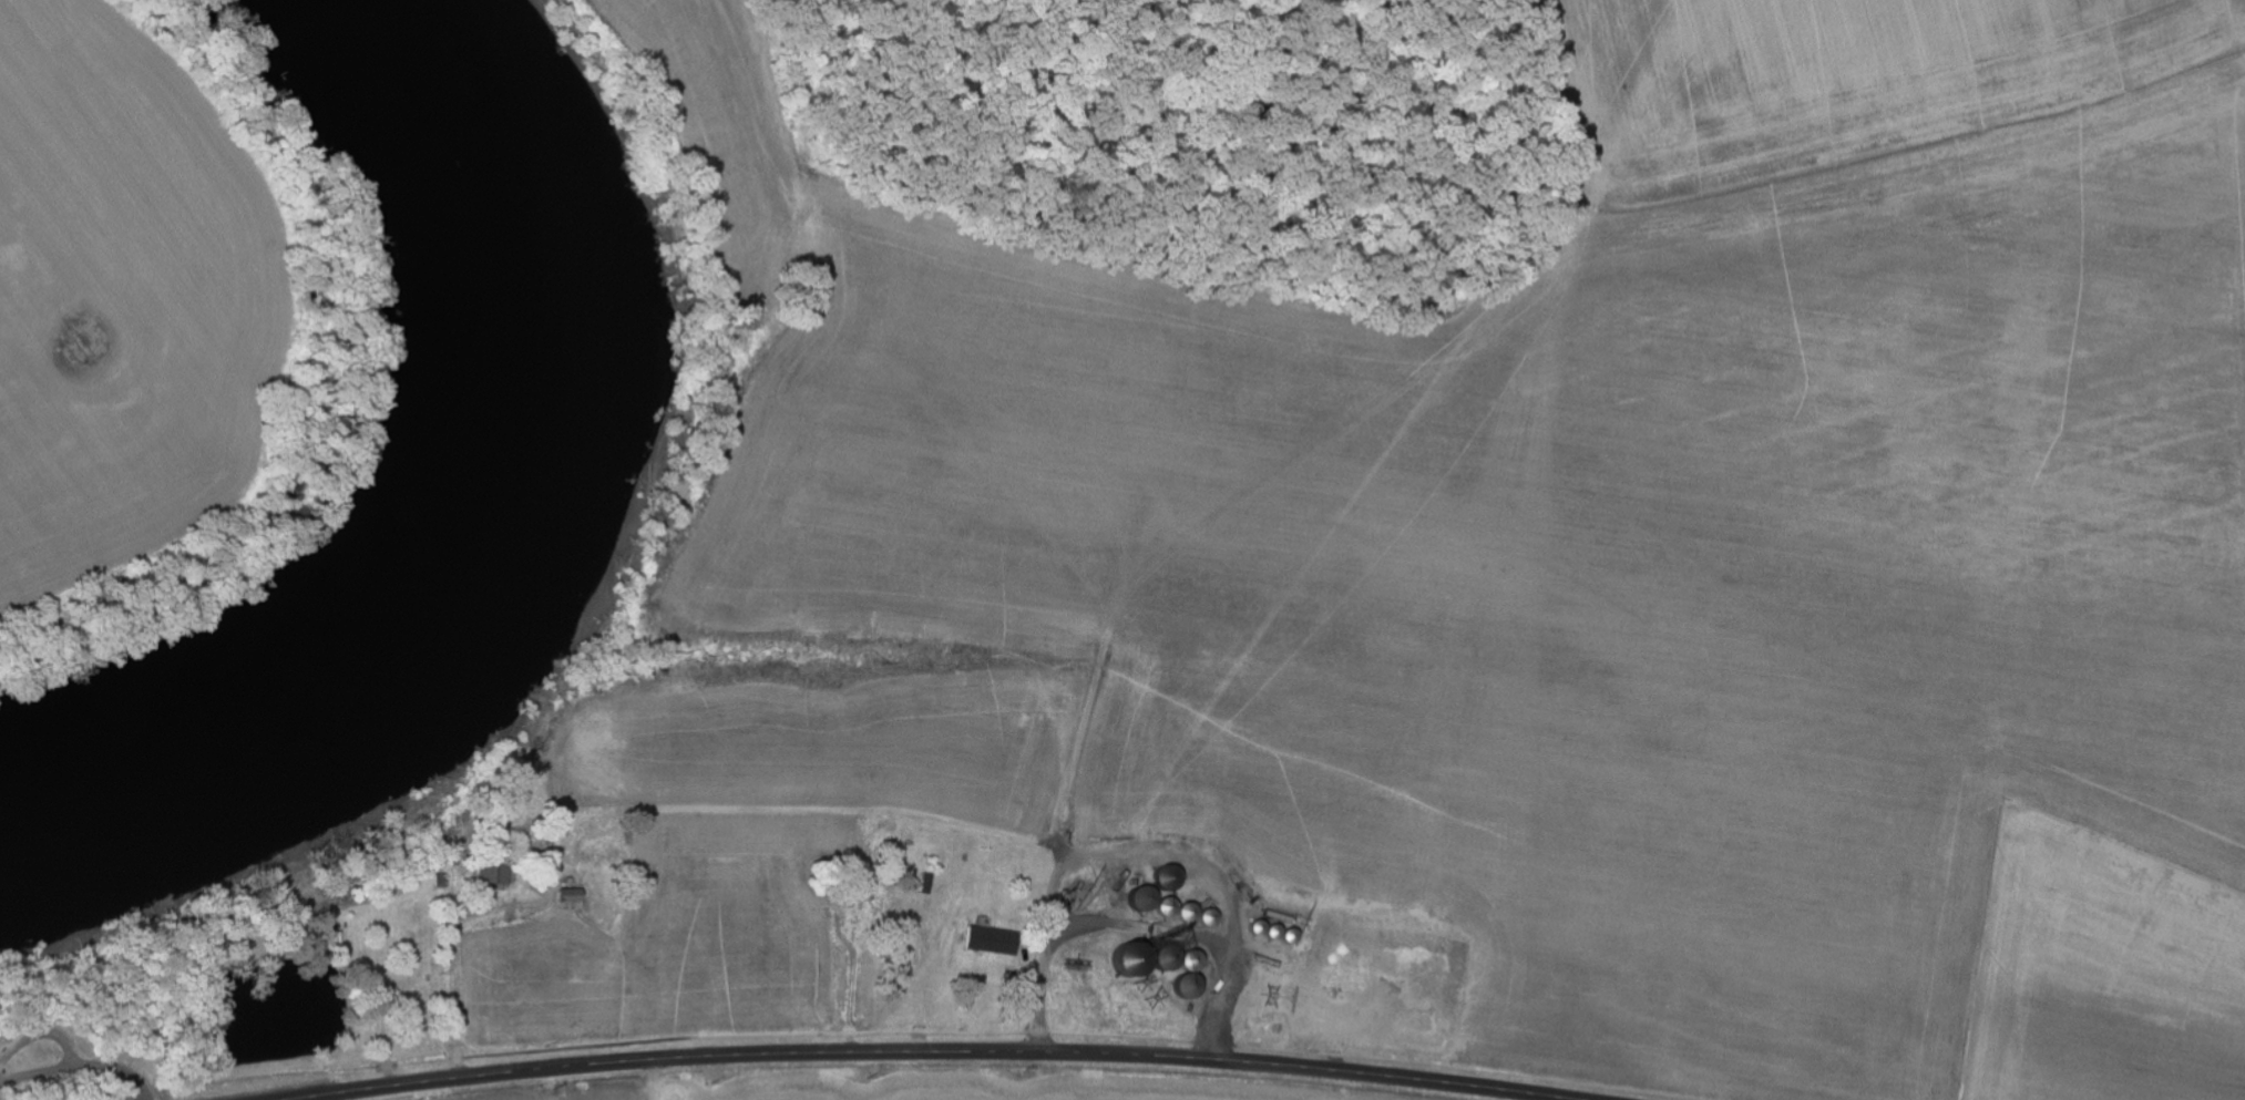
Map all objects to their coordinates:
river: (444, 525)
building: (997, 940)
road: (935, 1053)

